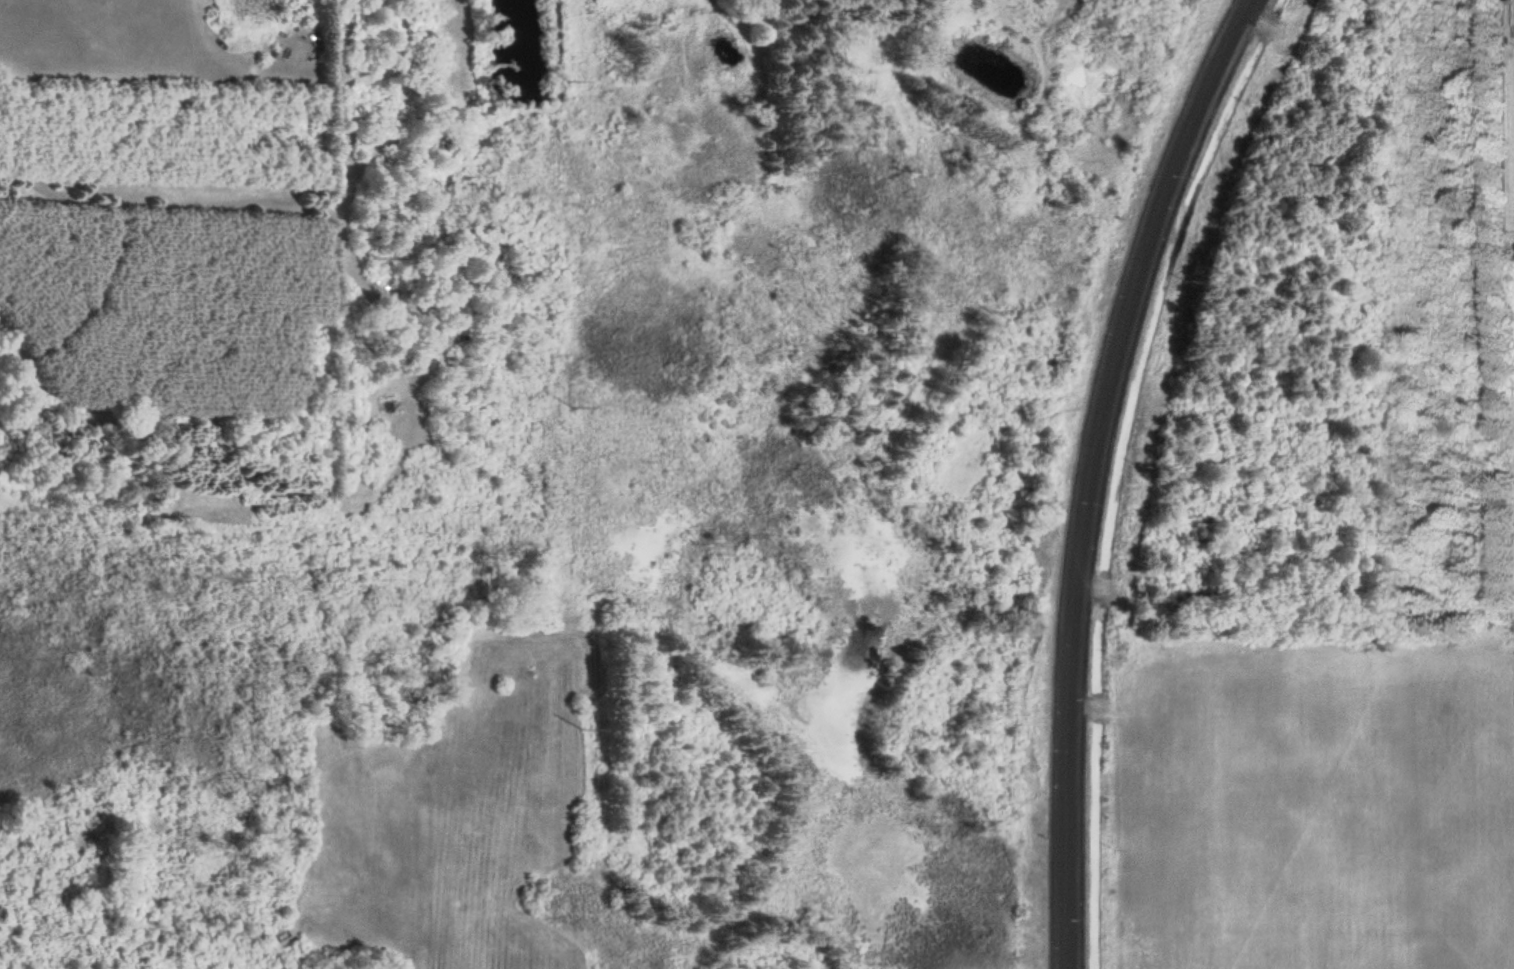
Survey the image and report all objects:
road: (1088, 471)

